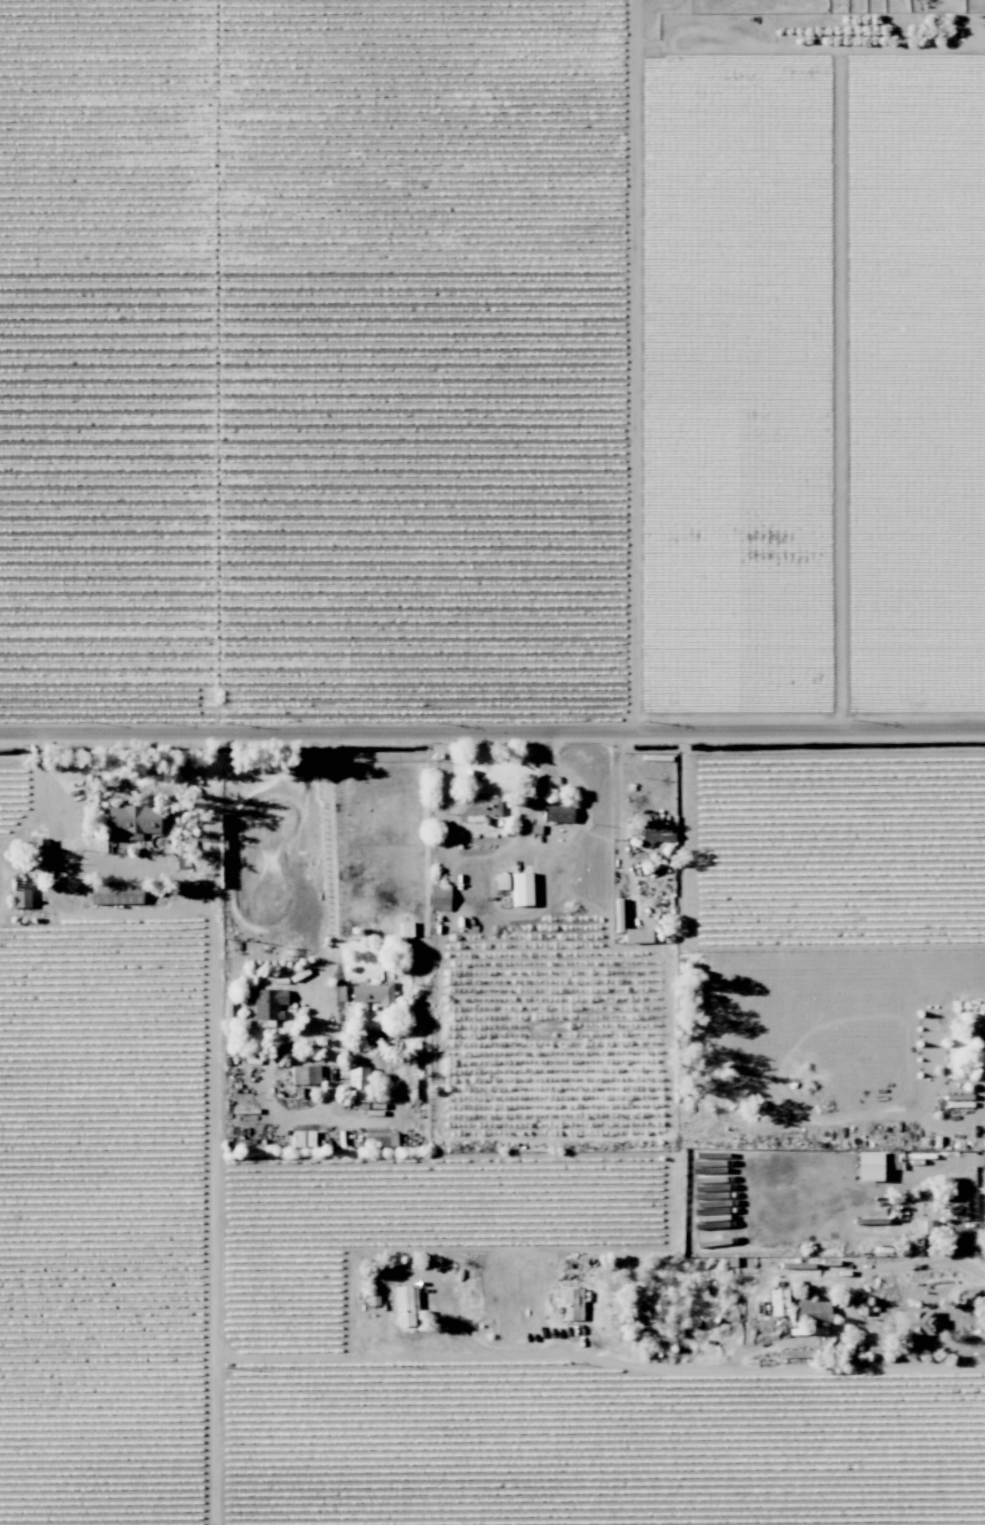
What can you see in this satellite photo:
road: (492, 742)
road: (38, 789)
building: (479, 805)
building: (556, 812)
building: (132, 818)
building: (654, 832)
building: (38, 849)
road: (330, 857)
road: (479, 864)
building: (499, 881)
building: (521, 888)
building: (115, 892)
building: (19, 894)
building: (438, 896)
building: (405, 928)
building: (636, 935)
building: (372, 992)
building: (267, 1005)
building: (984, 1031)
building: (304, 1073)
building: (357, 1085)
building: (302, 1137)
building: (379, 1138)
building: (867, 1165)
building: (959, 1204)
building: (929, 1226)
road: (971, 1226)
road: (843, 1299)
building: (570, 1302)
building: (778, 1302)
building: (402, 1304)
building: (864, 1307)
building: (811, 1311)
building: (912, 1322)
road: (669, 1367)

